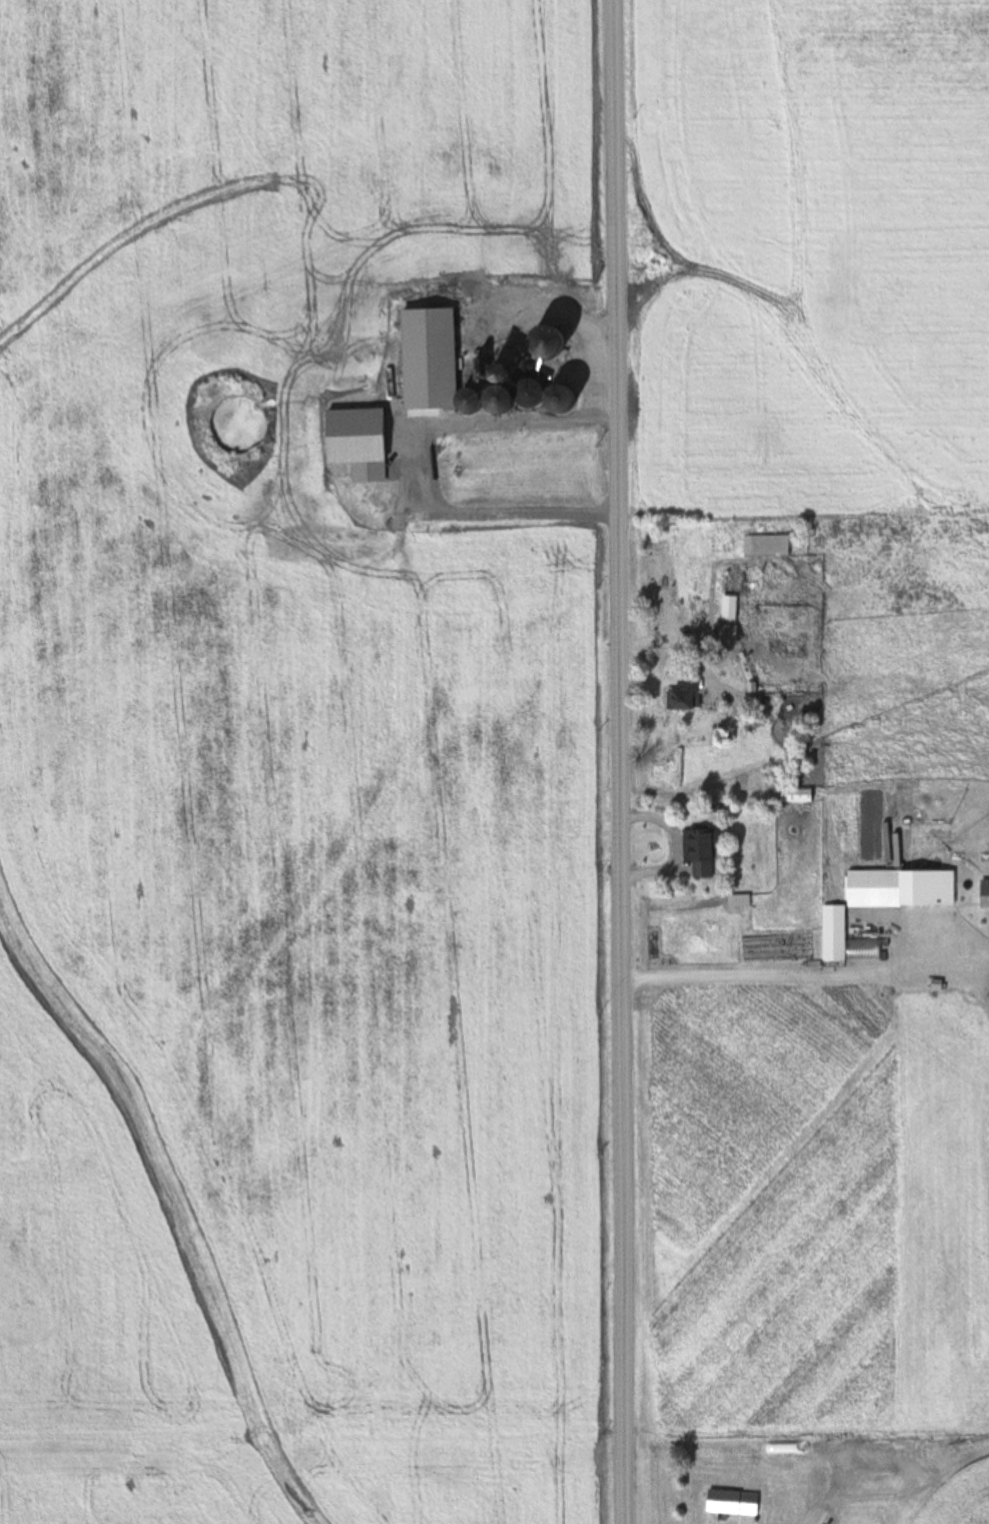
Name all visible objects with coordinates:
building: (405, 356)
building: (520, 362)
building: (498, 373)
building: (474, 375)
building: (532, 395)
building: (501, 400)
building: (562, 401)
building: (472, 402)
road: (292, 433)
building: (354, 435)
road: (411, 460)
building: (478, 483)
building: (767, 546)
building: (730, 608)
building: (729, 633)
road: (689, 642)
building: (684, 701)
road: (620, 761)
building: (797, 795)
building: (702, 850)
building: (739, 901)
building: (887, 1461)
road: (869, 1496)
building: (732, 1502)
road: (747, 1523)

